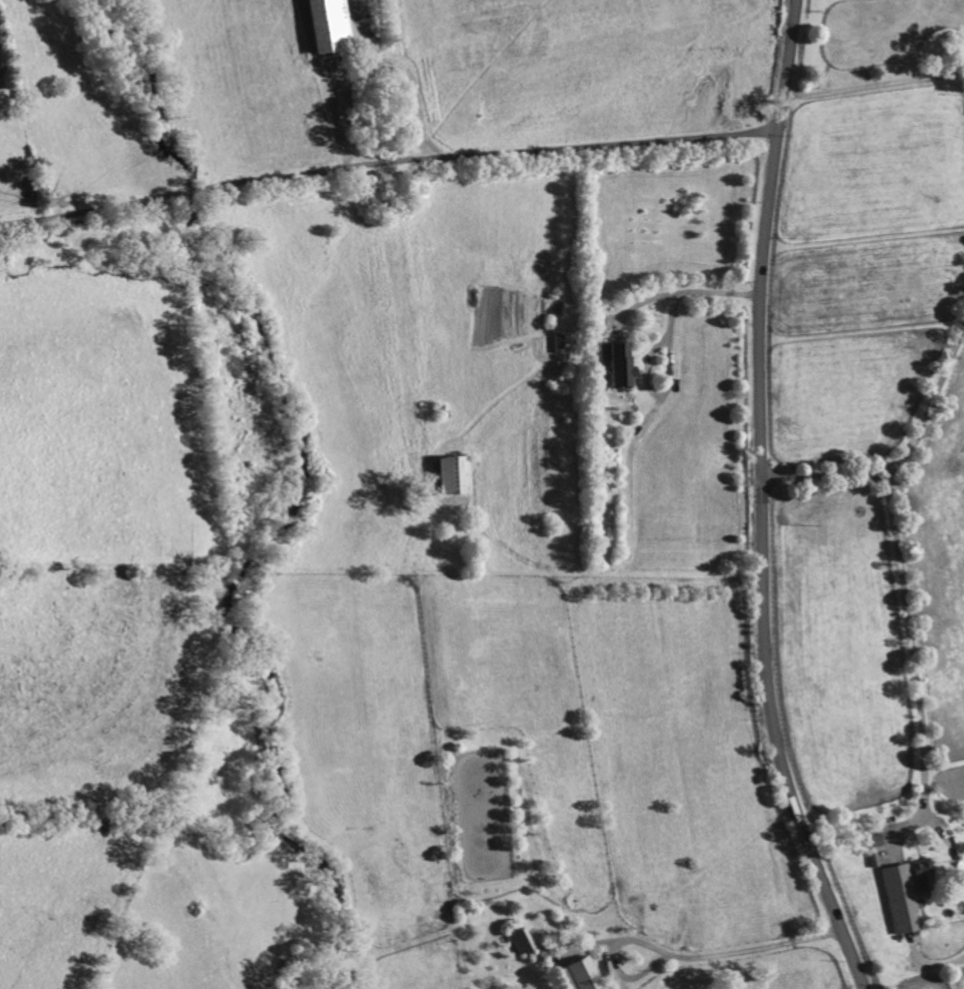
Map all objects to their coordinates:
building: (328, 25)
road: (874, 85)
road: (387, 164)
road: (680, 293)
building: (615, 364)
road: (901, 456)
building: (451, 476)
road: (761, 501)
road: (912, 658)
building: (922, 876)
building: (900, 900)
road: (685, 959)
building: (578, 975)

